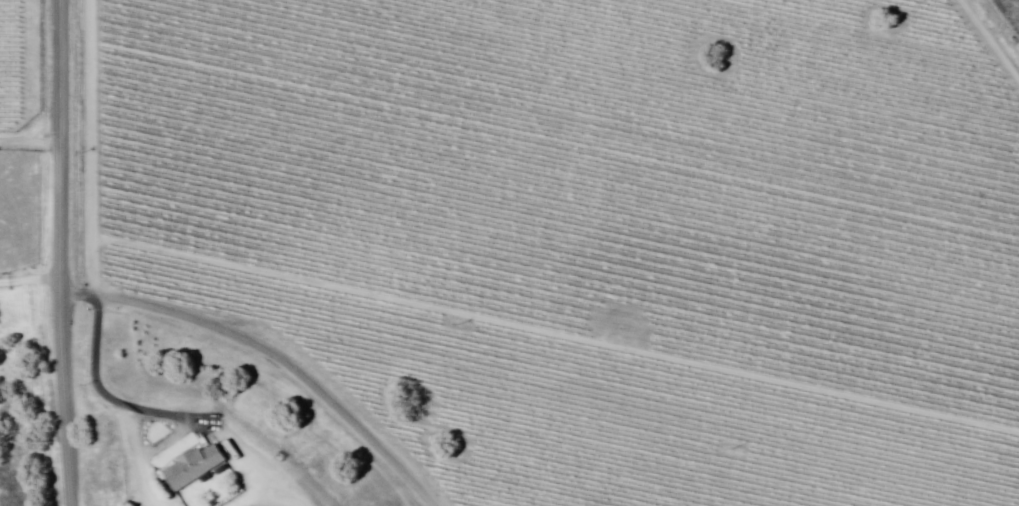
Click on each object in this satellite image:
road: (59, 253)
road: (29, 275)
road: (269, 359)
building: (197, 467)

